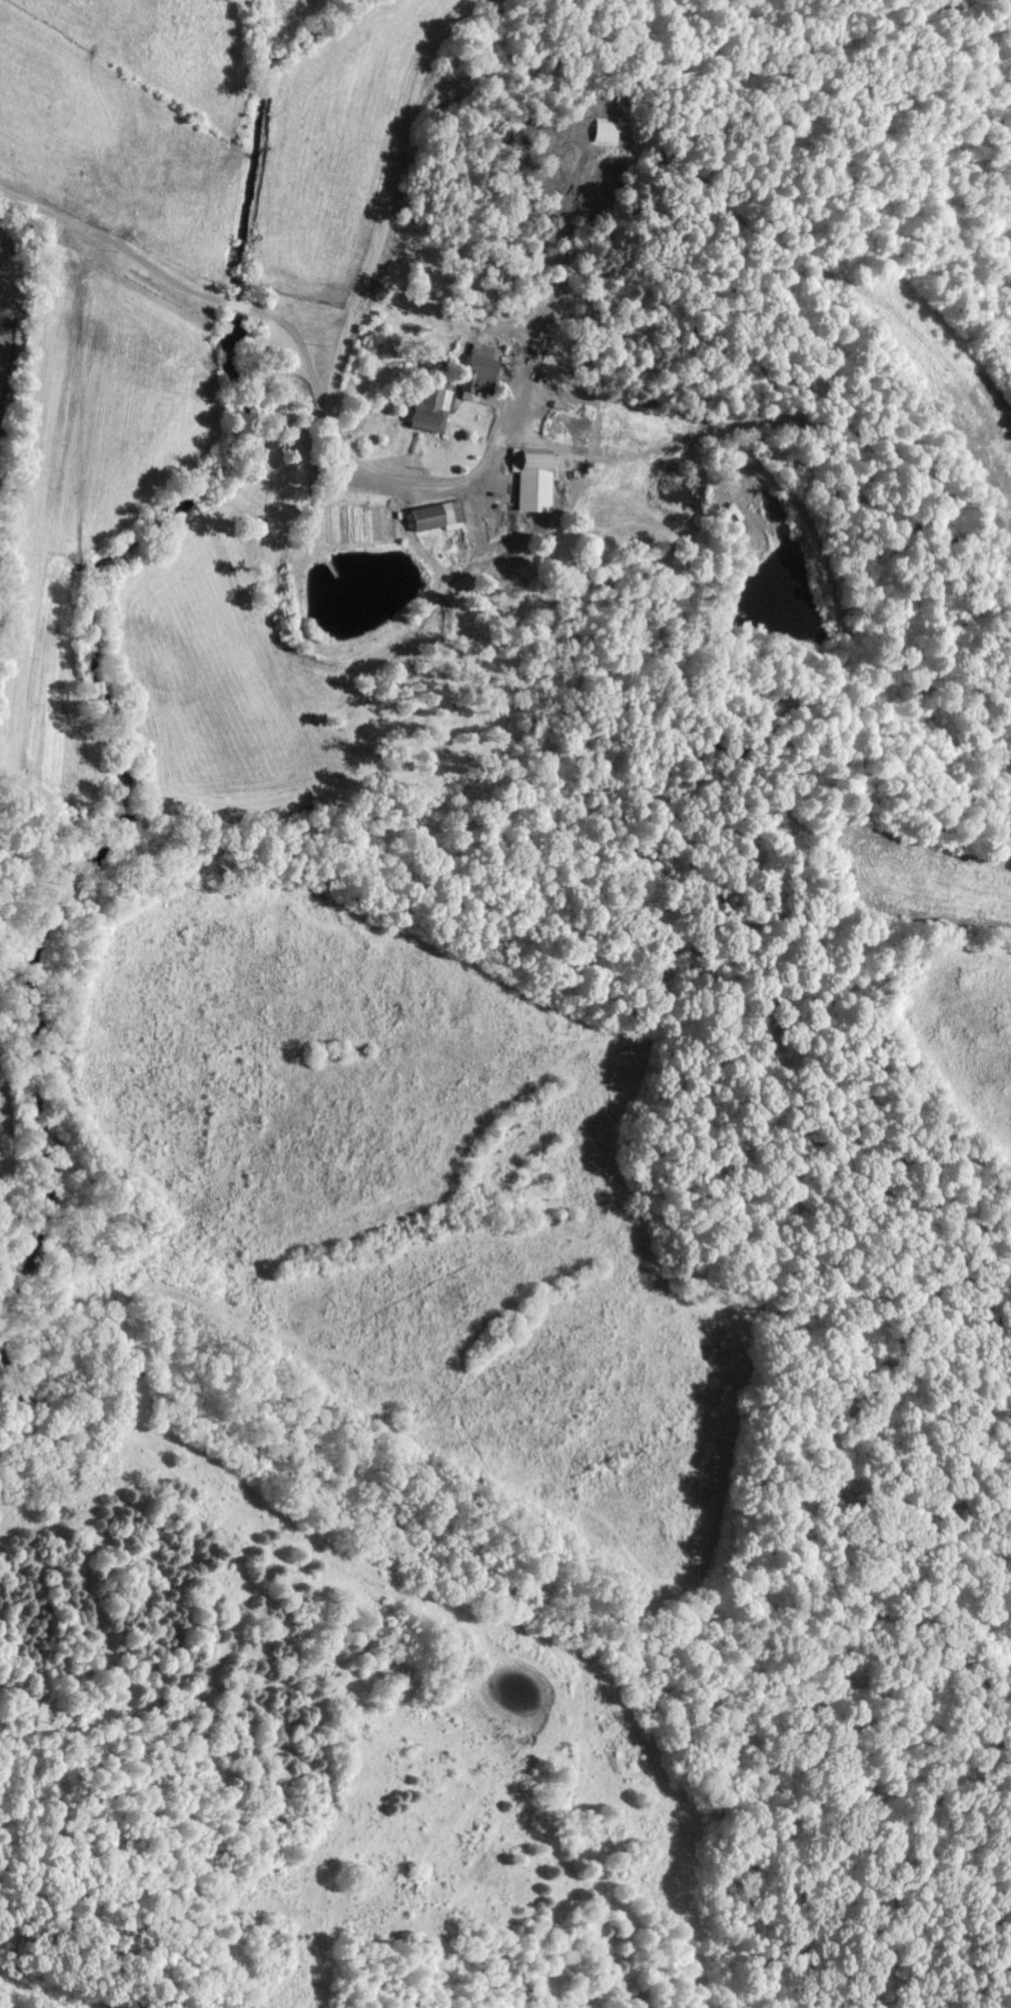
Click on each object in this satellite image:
building: (478, 368)
building: (426, 410)
building: (532, 468)
building: (434, 517)

